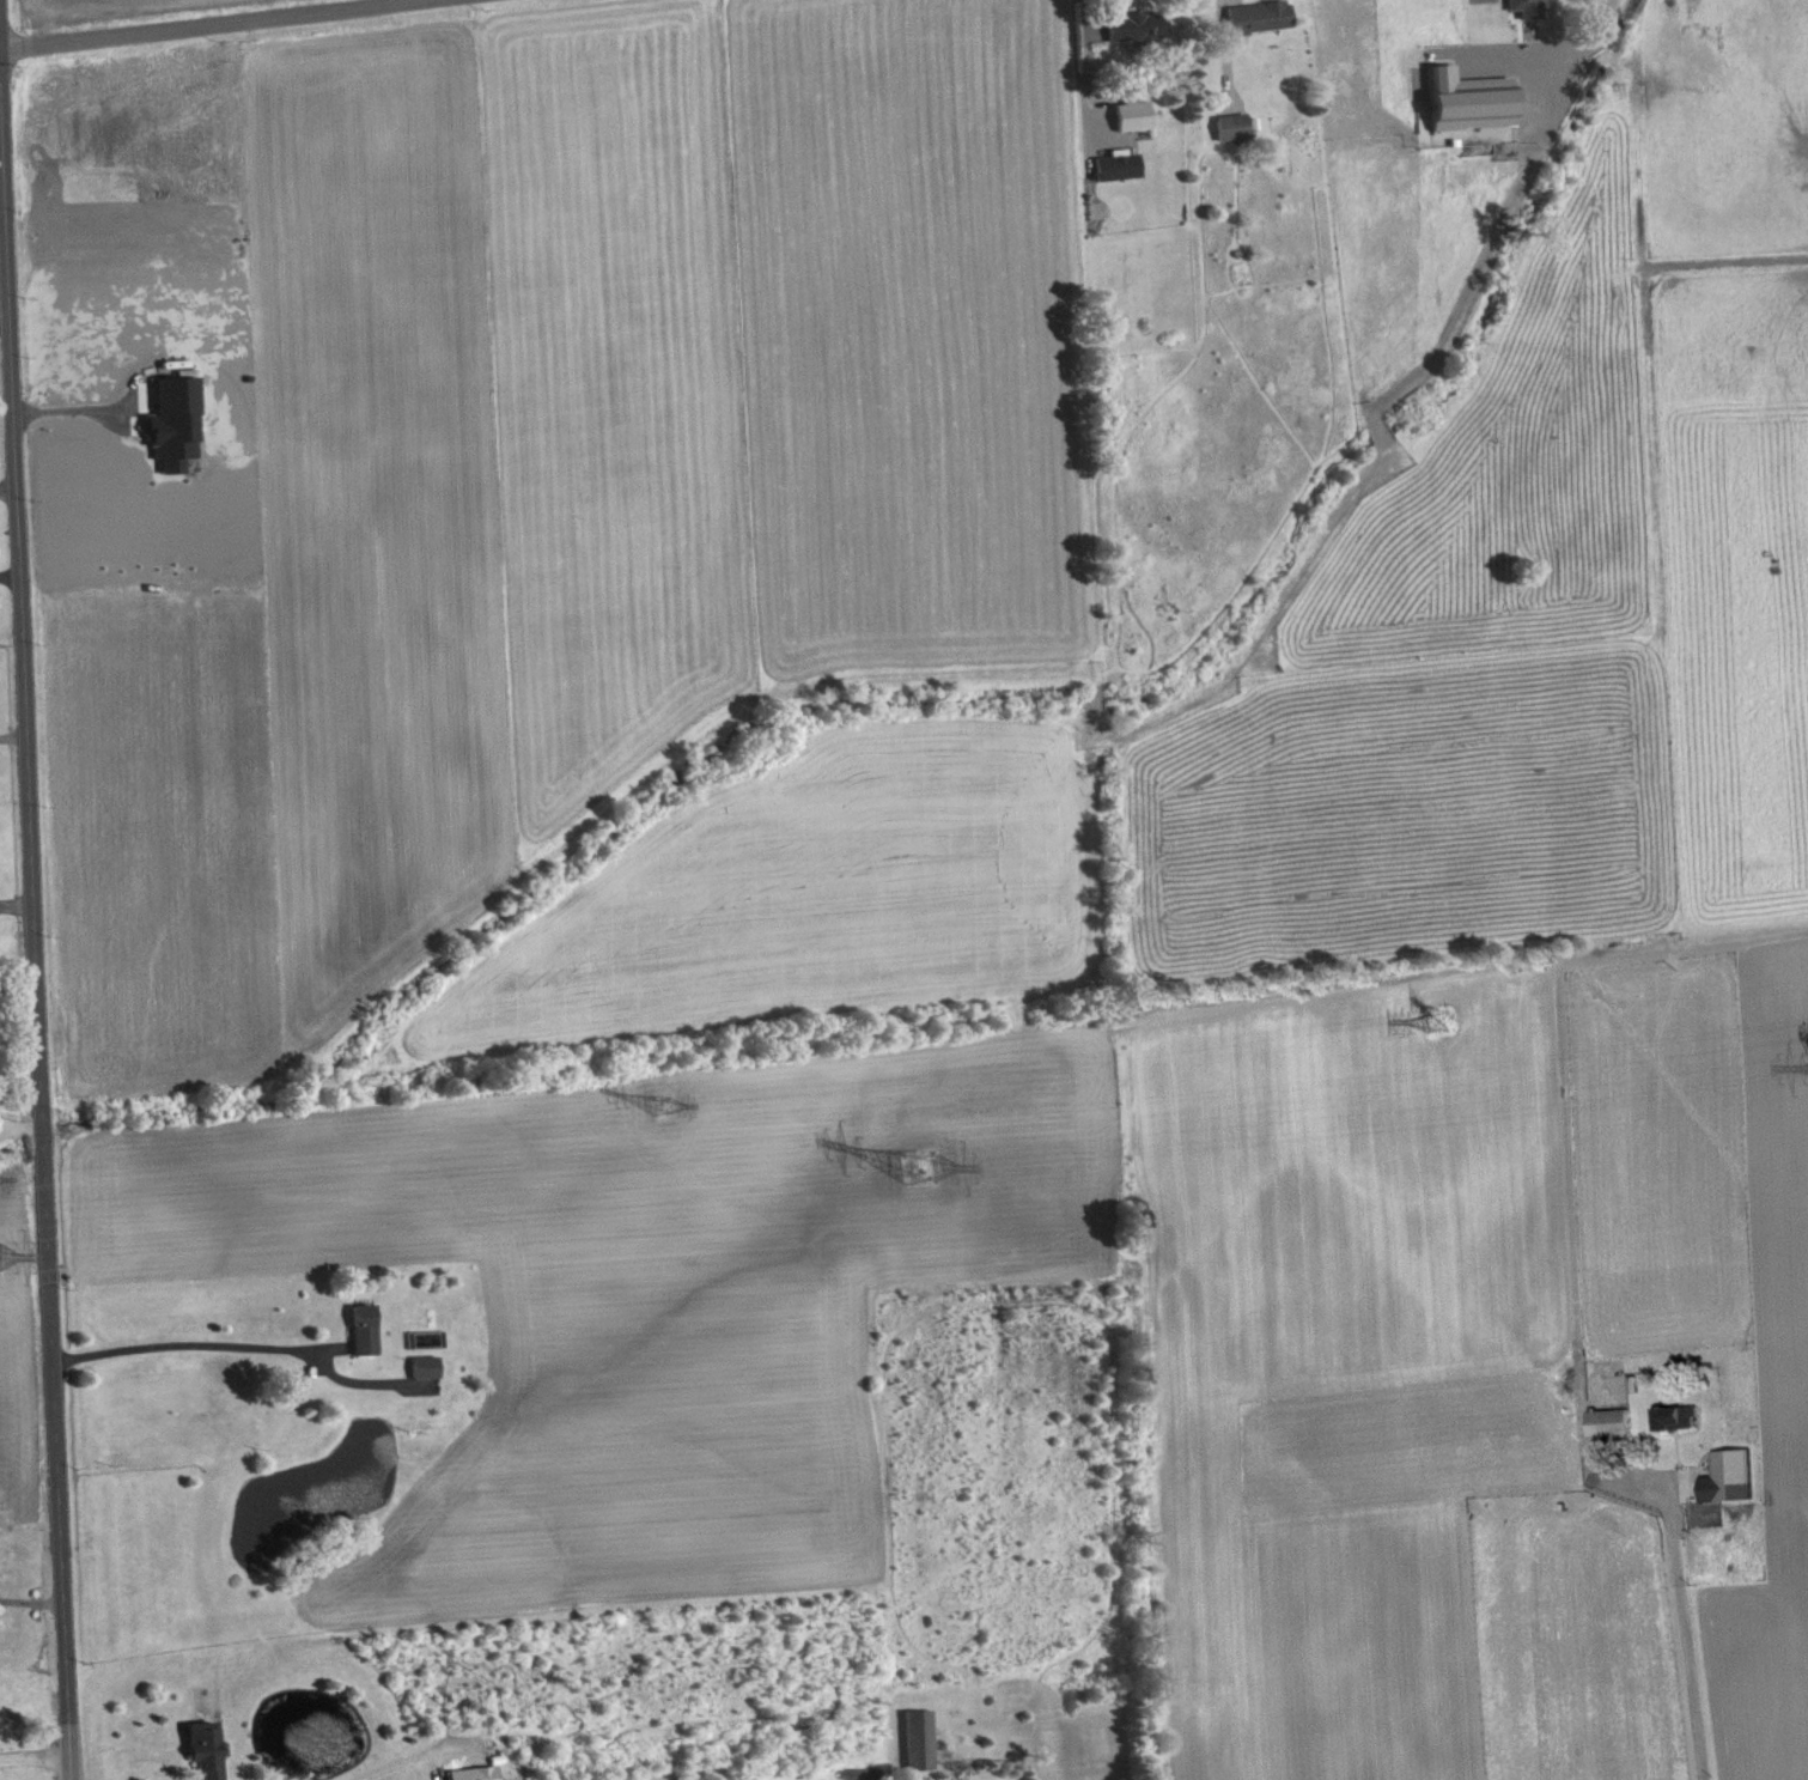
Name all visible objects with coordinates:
building: (1579, 0)
building: (1530, 8)
crop: (115, 11)
building: (1260, 18)
road: (195, 23)
building: (1143, 26)
road: (1584, 30)
road: (1083, 57)
building: (1138, 115)
building: (1237, 127)
building: (1124, 165)
road: (4, 315)
road: (74, 408)
crop: (500, 454)
road: (7, 487)
road: (10, 576)
road: (12, 728)
road: (34, 953)
power tower: (1439, 1011)
power tower: (663, 1104)
power tower: (926, 1156)
building: (369, 1330)
road: (178, 1341)
building: (430, 1368)
building: (1686, 1417)
building: (1617, 1422)
building: (1736, 1477)
road: (30, 1600)
road: (1692, 1630)
building: (924, 1740)
building: (211, 1750)
road: (34, 1751)
road: (365, 1763)
building: (479, 1774)

